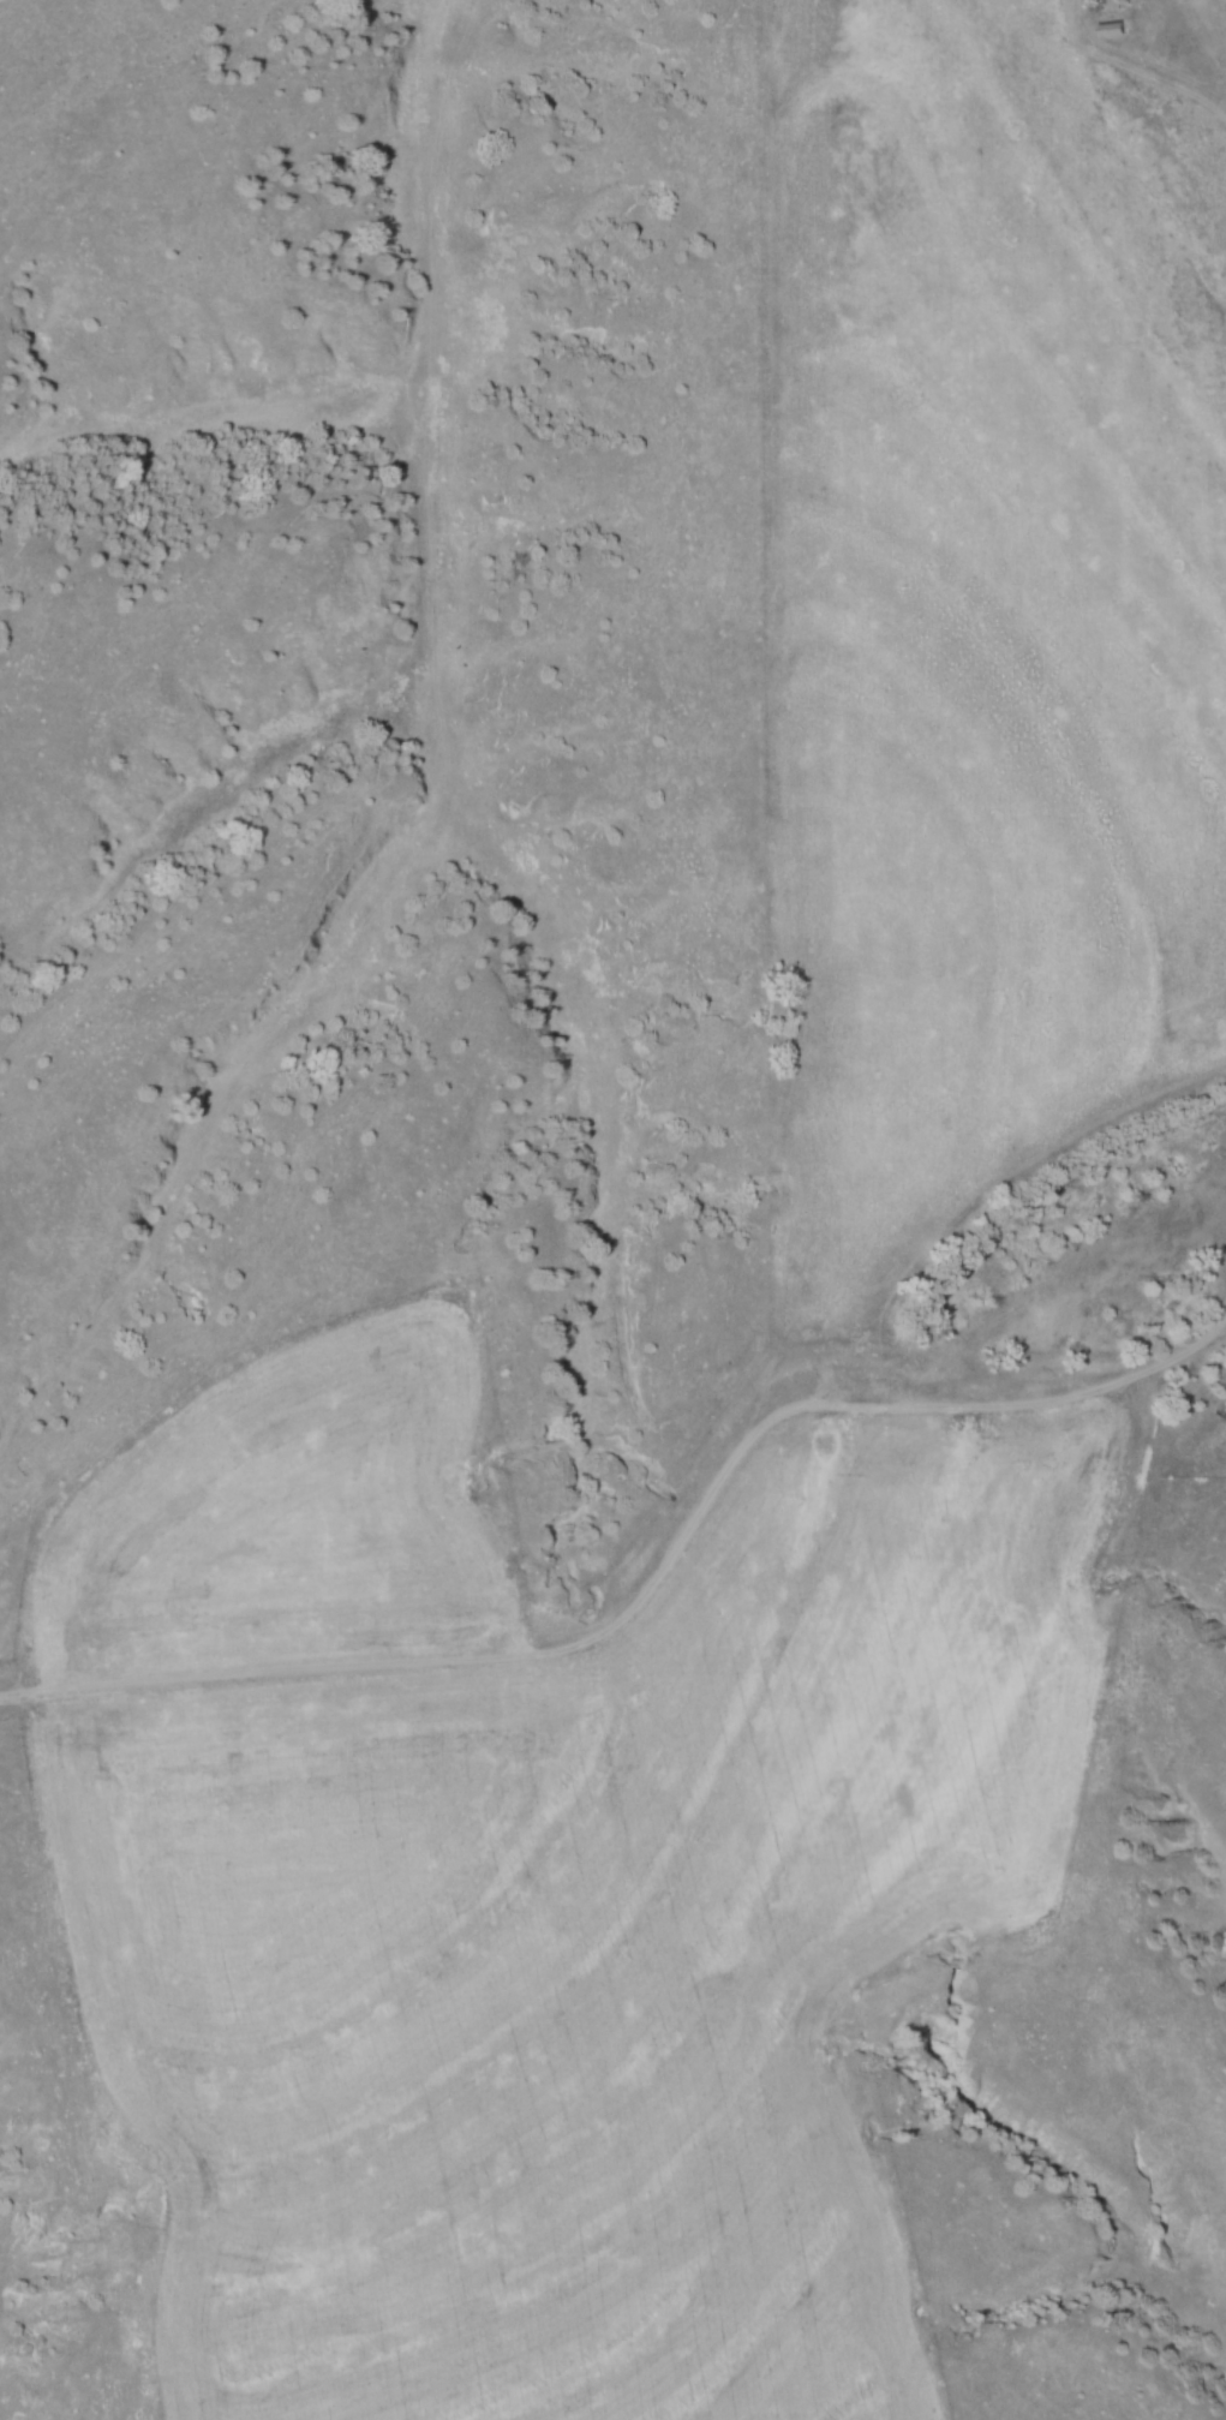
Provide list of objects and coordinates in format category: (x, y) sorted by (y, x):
building: (1118, 4)
building: (1112, 29)
road: (1202, 47)
road: (653, 1582)

